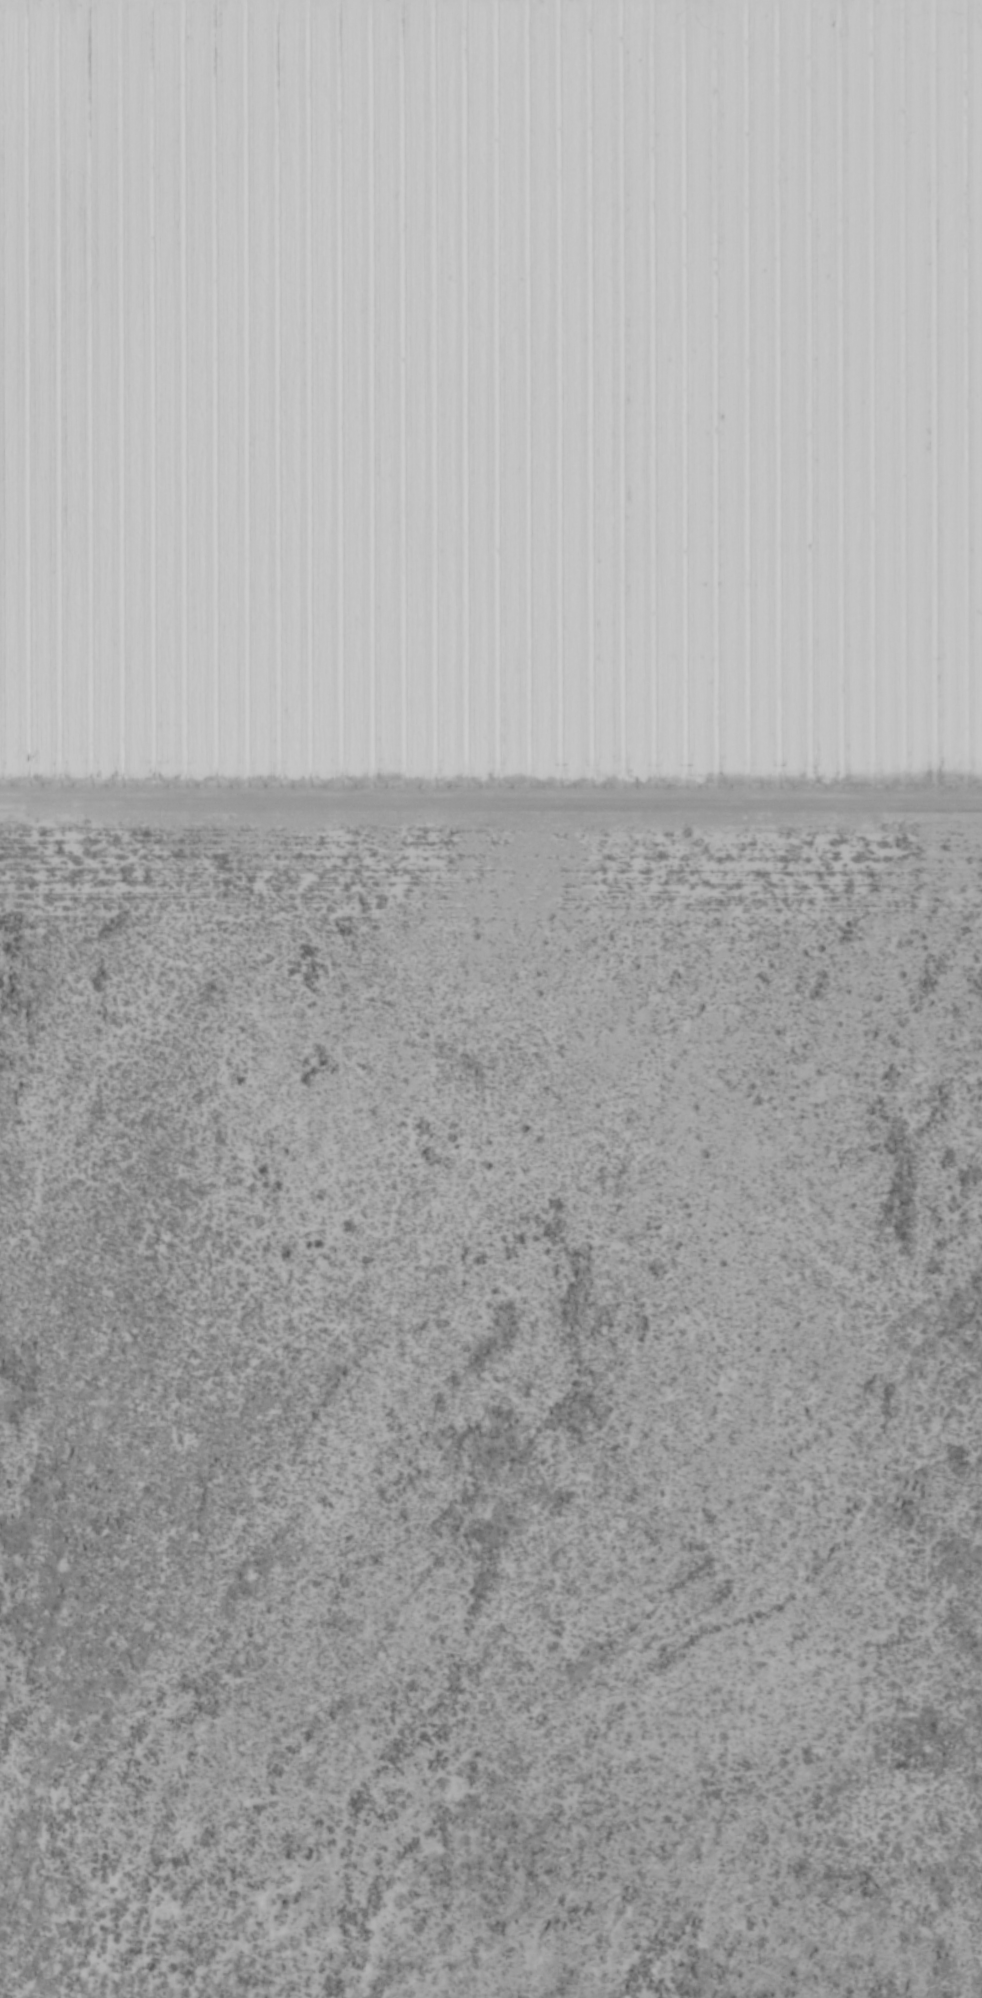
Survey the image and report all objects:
crop: (491, 999)

